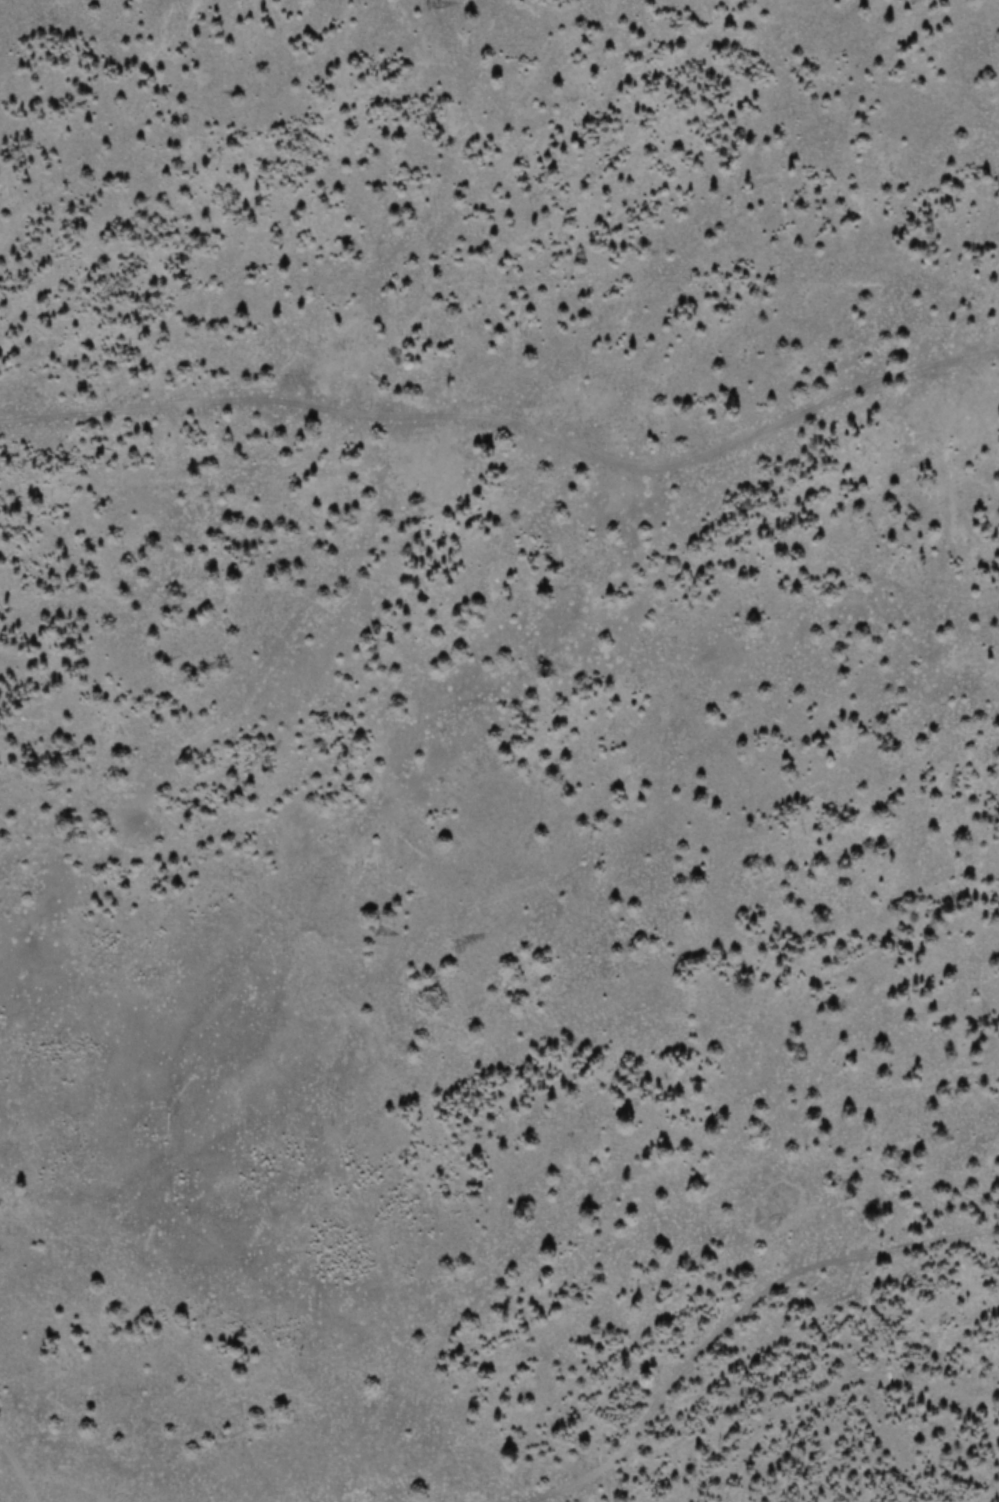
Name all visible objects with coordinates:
road: (942, 49)

